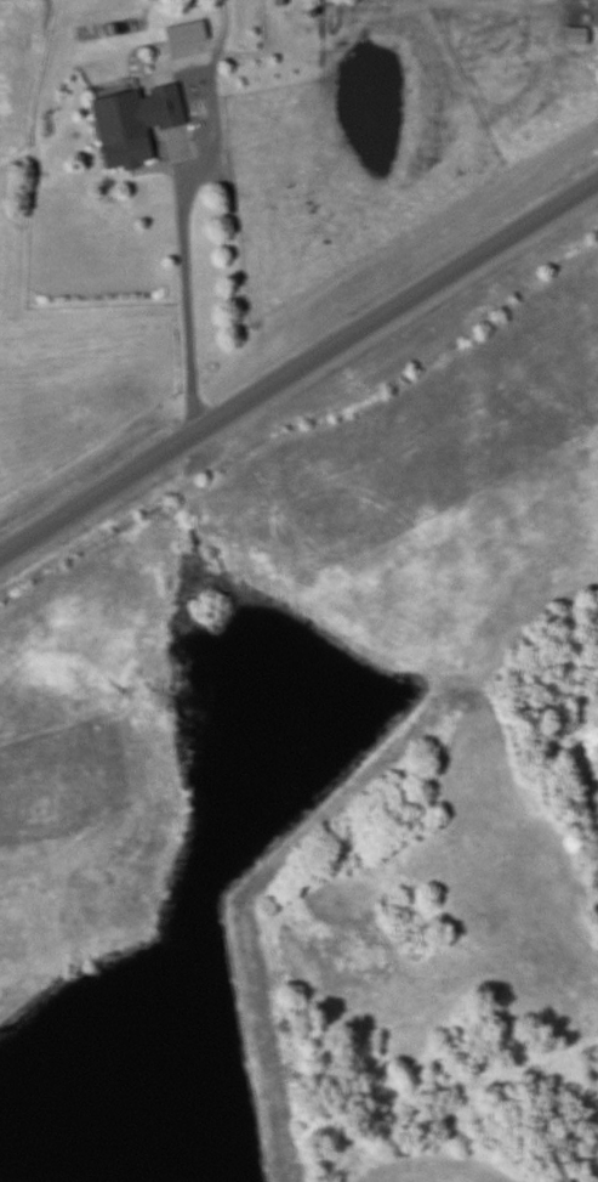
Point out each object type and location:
building: (183, 34)
building: (131, 121)
road: (298, 369)

